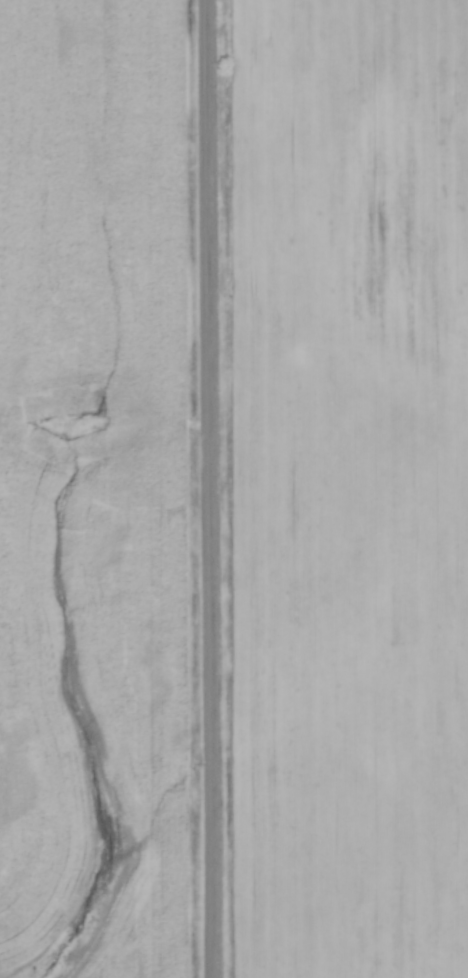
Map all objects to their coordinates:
road: (206, 489)

